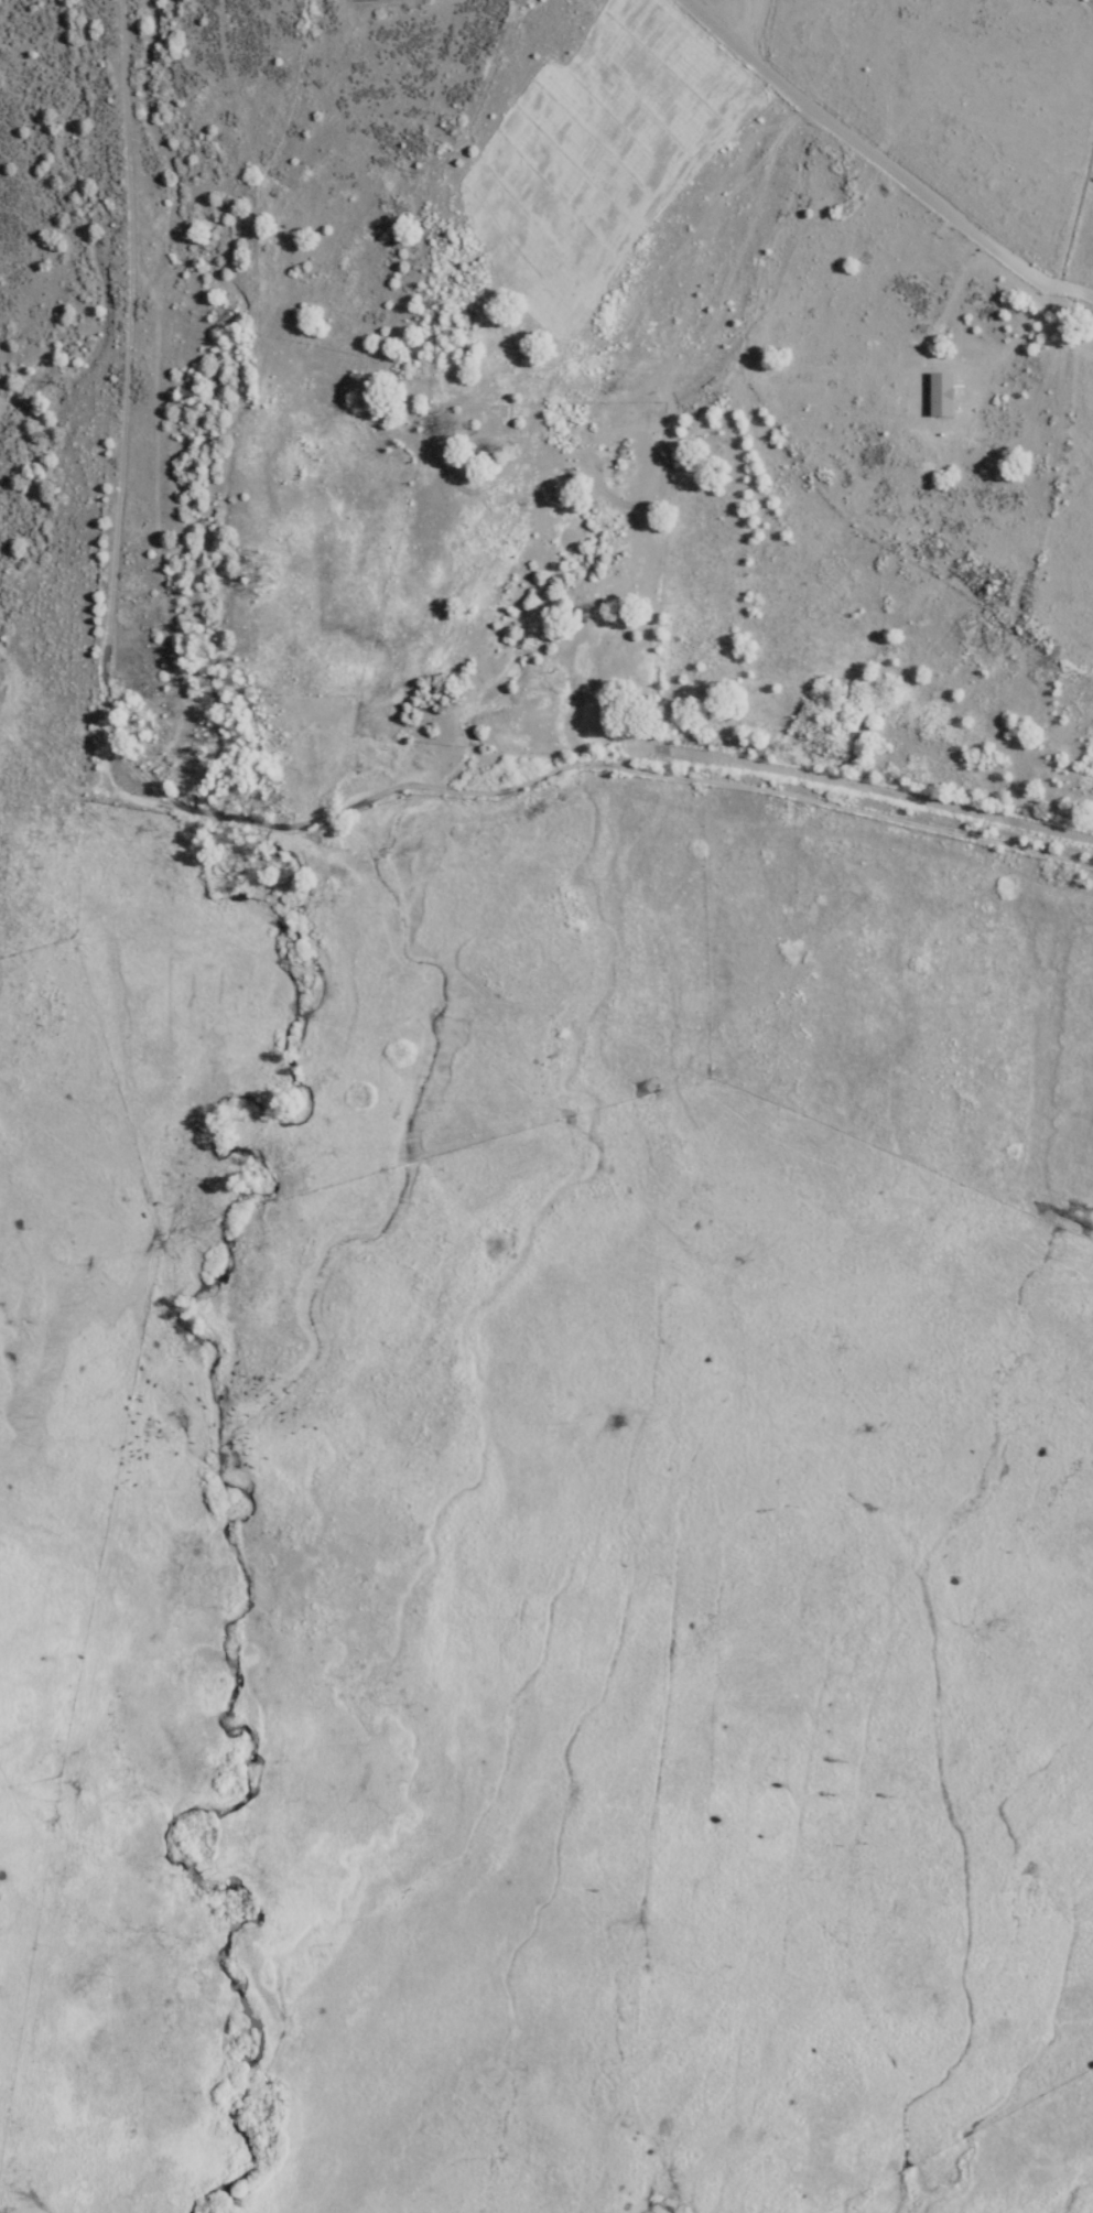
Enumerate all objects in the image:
road: (881, 163)
building: (939, 391)
road: (230, 816)

